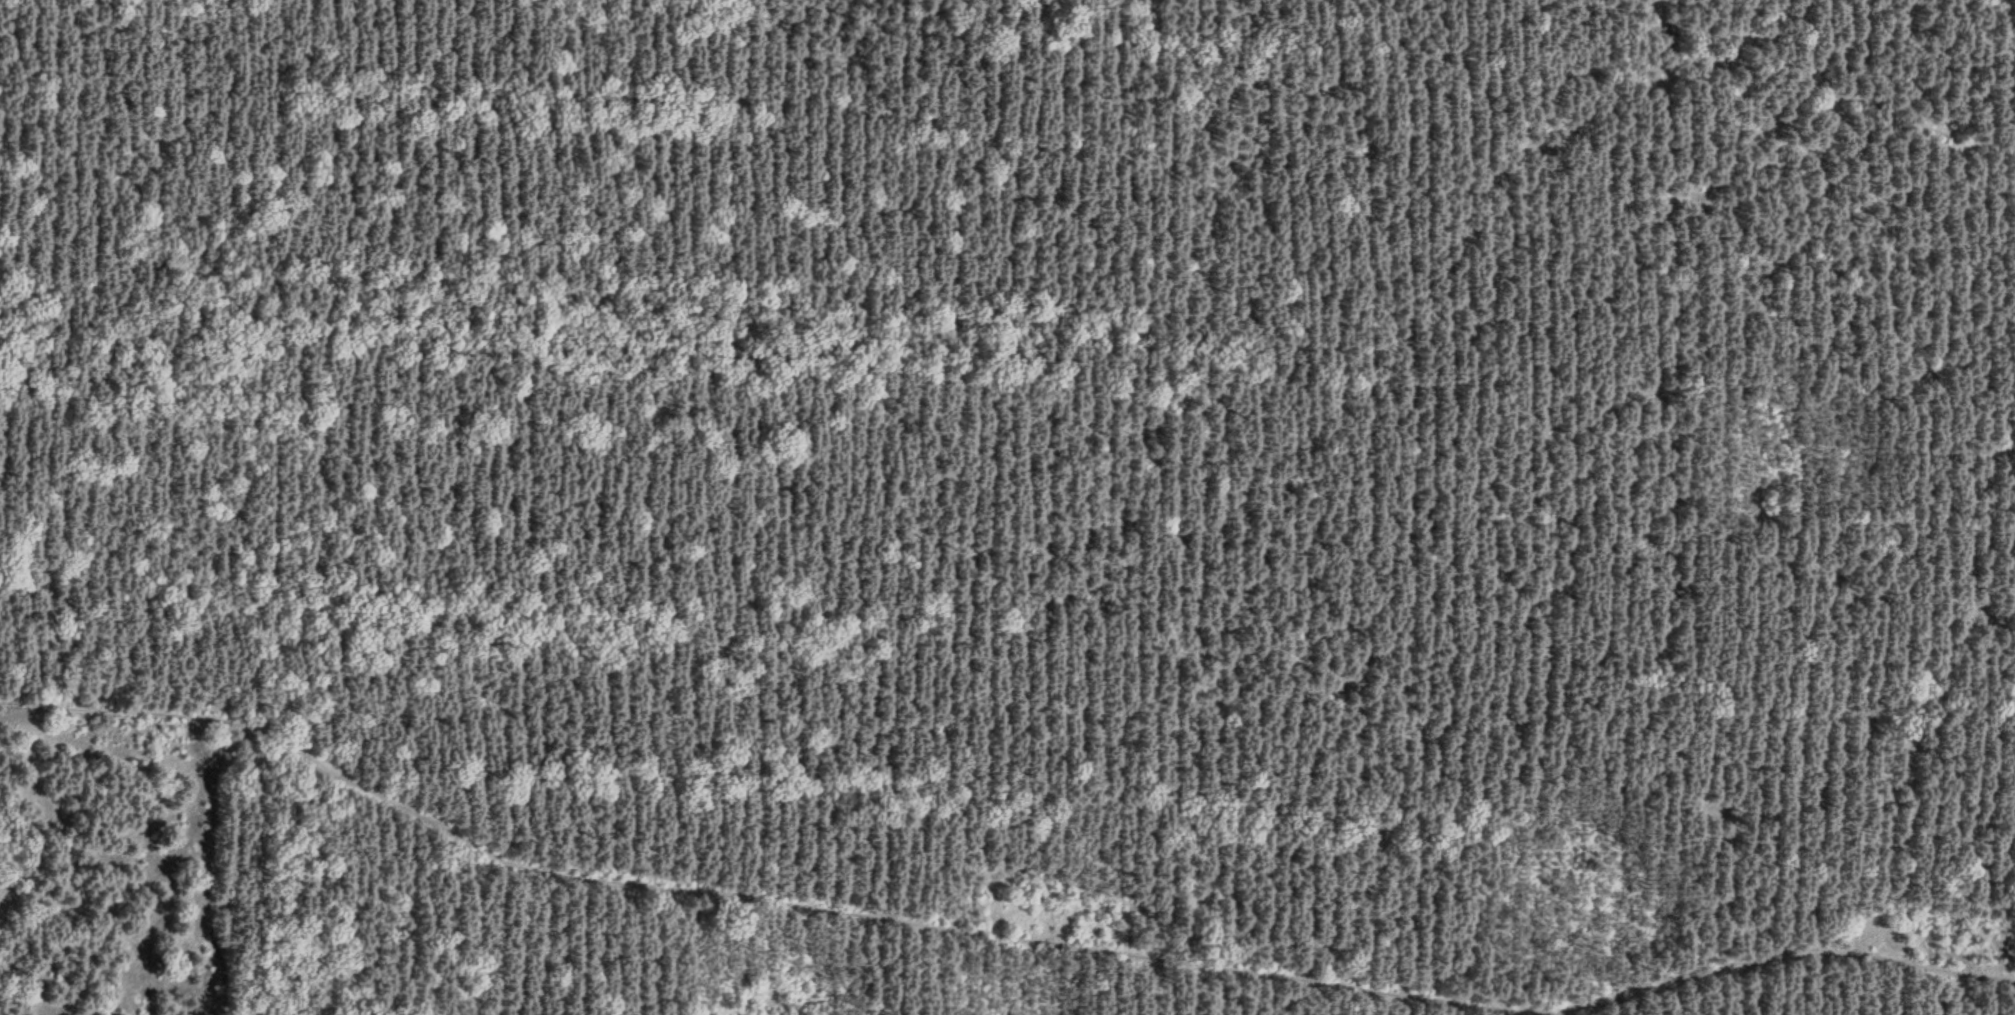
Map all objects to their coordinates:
road: (1764, 74)
road: (991, 936)

